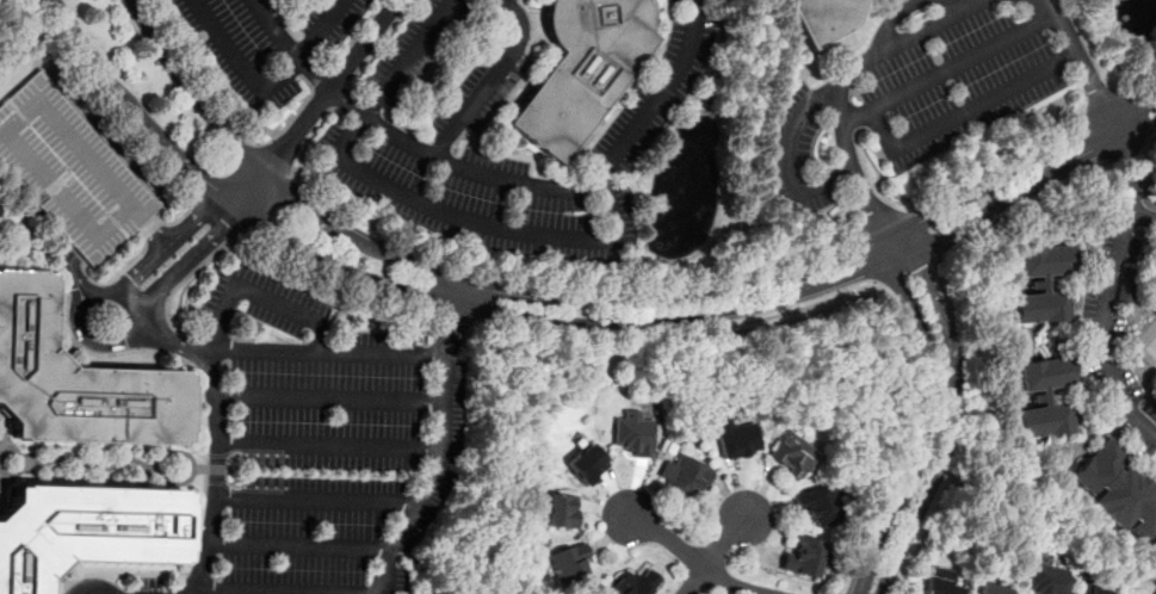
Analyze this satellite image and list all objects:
road: (965, 2)
building: (823, 18)
road: (892, 19)
road: (327, 32)
road: (290, 50)
road: (1082, 57)
road: (410, 60)
road: (951, 68)
road: (242, 69)
building: (581, 69)
road: (493, 80)
road: (840, 83)
road: (106, 104)
road: (322, 106)
road: (964, 111)
road: (1148, 138)
road: (1127, 151)
road: (790, 154)
road: (1020, 166)
building: (72, 169)
parking garage: (72, 169)
road: (1022, 191)
road: (561, 192)
road: (1025, 205)
road: (215, 210)
road: (1142, 216)
road: (477, 227)
road: (155, 233)
road: (162, 245)
road: (897, 245)
road: (888, 249)
road: (186, 260)
road: (904, 267)
road: (72, 276)
road: (334, 278)
road: (455, 278)
building: (1040, 283)
road: (1108, 283)
building: (1126, 285)
road: (174, 287)
road: (419, 292)
road: (259, 293)
road: (456, 316)
road: (451, 328)
road: (82, 329)
road: (676, 332)
road: (162, 334)
road: (947, 334)
road: (322, 353)
building: (75, 380)
building: (1041, 396)
road: (329, 397)
building: (1150, 409)
road: (926, 429)
building: (631, 433)
road: (908, 438)
building: (735, 439)
road: (328, 445)
building: (791, 454)
building: (585, 463)
road: (216, 475)
building: (684, 477)
road: (431, 481)
building: (1115, 490)
road: (320, 499)
building: (817, 505)
road: (917, 508)
building: (561, 511)
building: (85, 530)
road: (722, 542)
road: (299, 546)
road: (691, 556)
building: (806, 557)
building: (567, 562)
building: (1044, 578)
road: (692, 580)
building: (938, 581)
building: (635, 582)
road: (92, 587)
road: (286, 588)
building: (990, 588)
building: (1092, 589)

